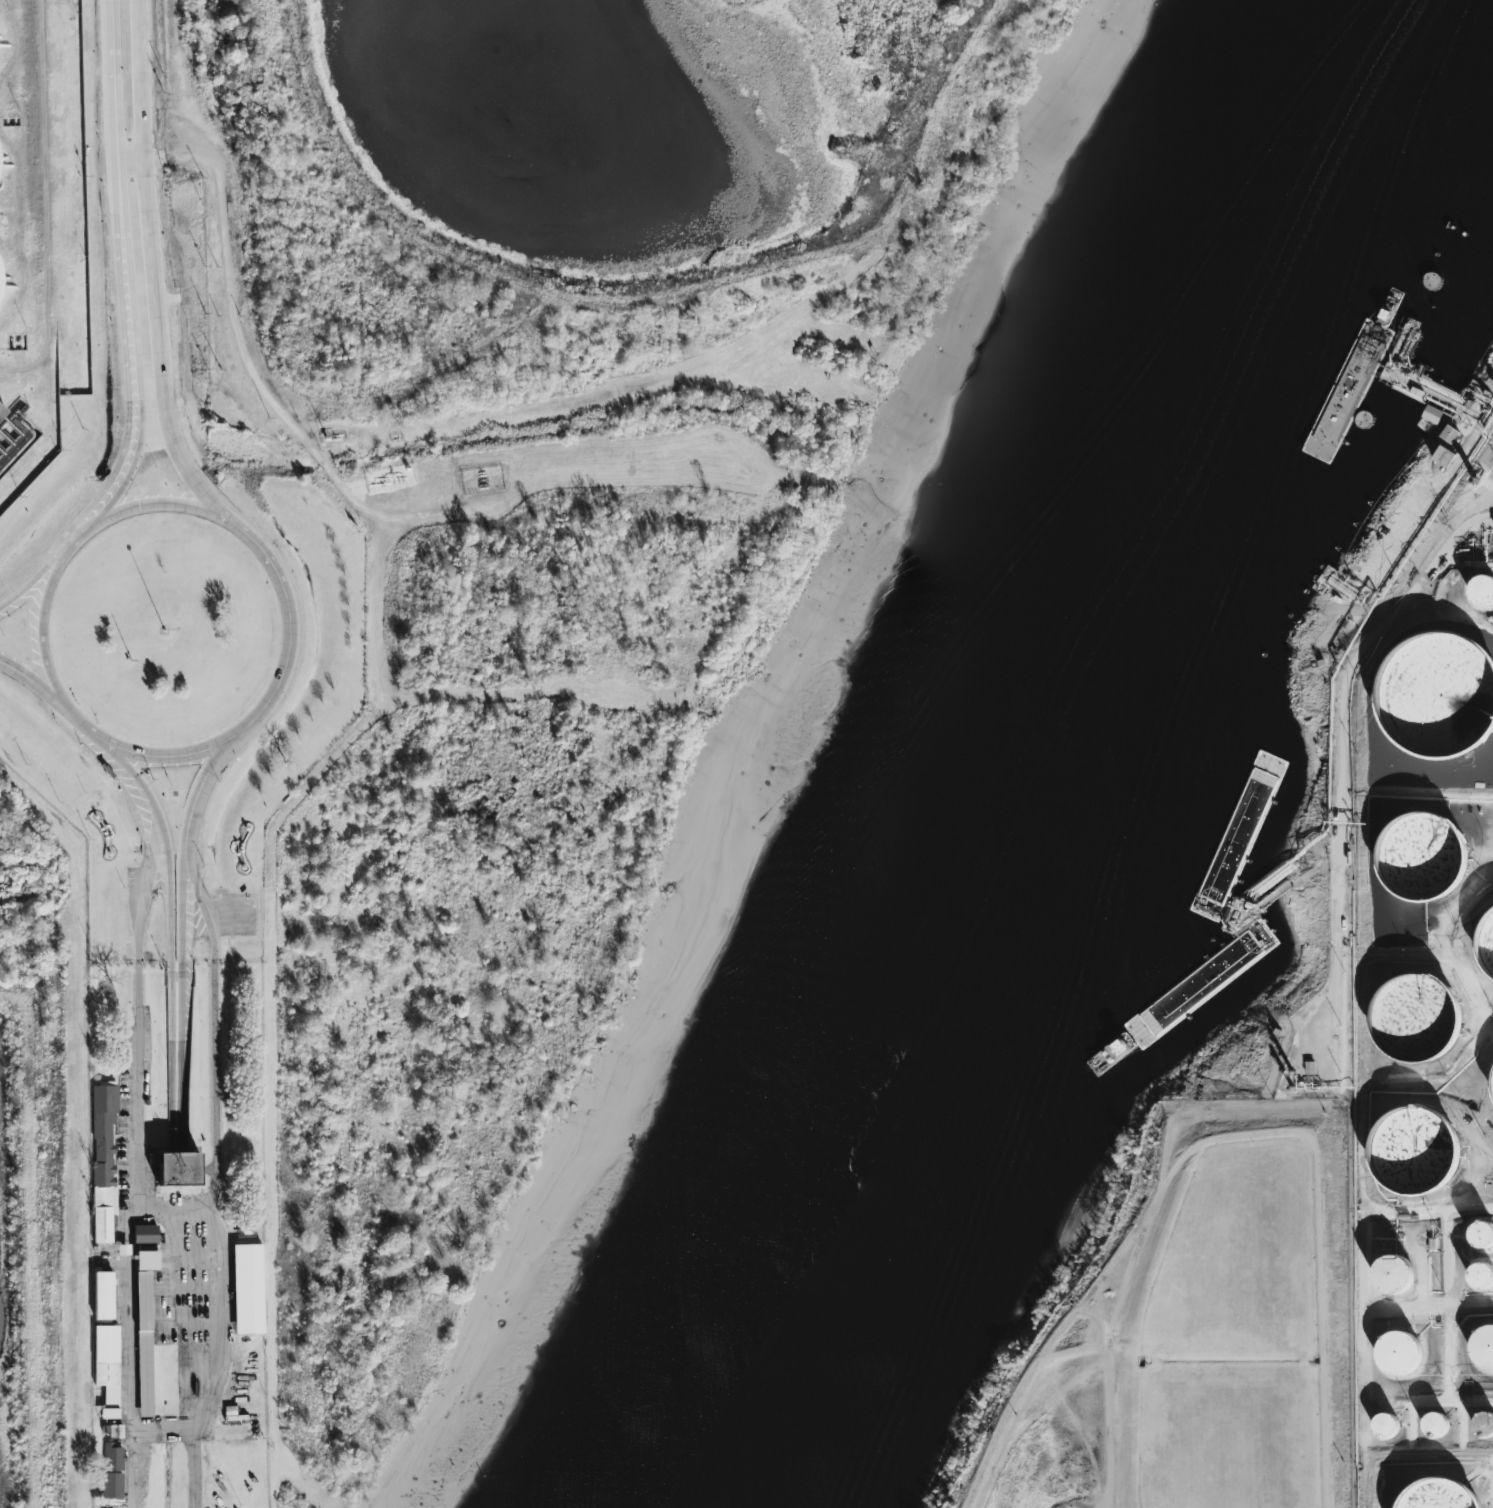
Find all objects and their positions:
road: (109, 28)
road: (178, 154)
road: (127, 158)
road: (26, 176)
road: (46, 259)
road: (152, 267)
road: (124, 299)
road: (549, 310)
pier: (1434, 348)
road: (254, 378)
building: (1431, 414)
building: (1449, 434)
building: (7, 439)
building: (1443, 456)
road: (153, 504)
road: (72, 542)
road: (255, 543)
road: (30, 580)
building: (1482, 594)
storage tank: (1482, 594)
road: (37, 629)
road: (286, 660)
road: (30, 679)
building: (1434, 699)
storage tank: (1434, 699)
road: (68, 713)
road: (1347, 713)
river: (1031, 754)
road: (158, 756)
road: (199, 787)
road: (158, 834)
building: (1419, 858)
storage tank: (1419, 858)
road: (139, 899)
road: (181, 915)
building: (1486, 947)
storage tank: (1486, 947)
road: (1336, 964)
road: (178, 982)
building: (1413, 1022)
storage tank: (1413, 1022)
road: (214, 1034)
road: (178, 1071)
building: (1491, 1087)
storage tank: (1491, 1087)
road: (1238, 1141)
building: (1413, 1155)
storage tank: (1413, 1155)
building: (102, 1160)
building: (175, 1168)
road: (201, 1214)
building: (143, 1234)
building: (1483, 1237)
storage tank: (1483, 1237)
building: (145, 1260)
building: (1393, 1277)
storage tank: (1393, 1277)
building: (1482, 1279)
storage tank: (1482, 1279)
building: (246, 1288)
building: (101, 1295)
building: (142, 1343)
building: (1484, 1350)
storage tank: (1484, 1350)
road: (135, 1354)
building: (1400, 1355)
storage tank: (1400, 1355)
building: (105, 1368)
building: (1384, 1427)
storage tank: (1384, 1427)
building: (1484, 1427)
storage tank: (1484, 1427)
building: (1437, 1428)
storage tank: (1437, 1428)
building: (114, 1431)
building: (111, 1457)
building: (111, 1485)
building: (1434, 1496)
storage tank: (1434, 1496)

